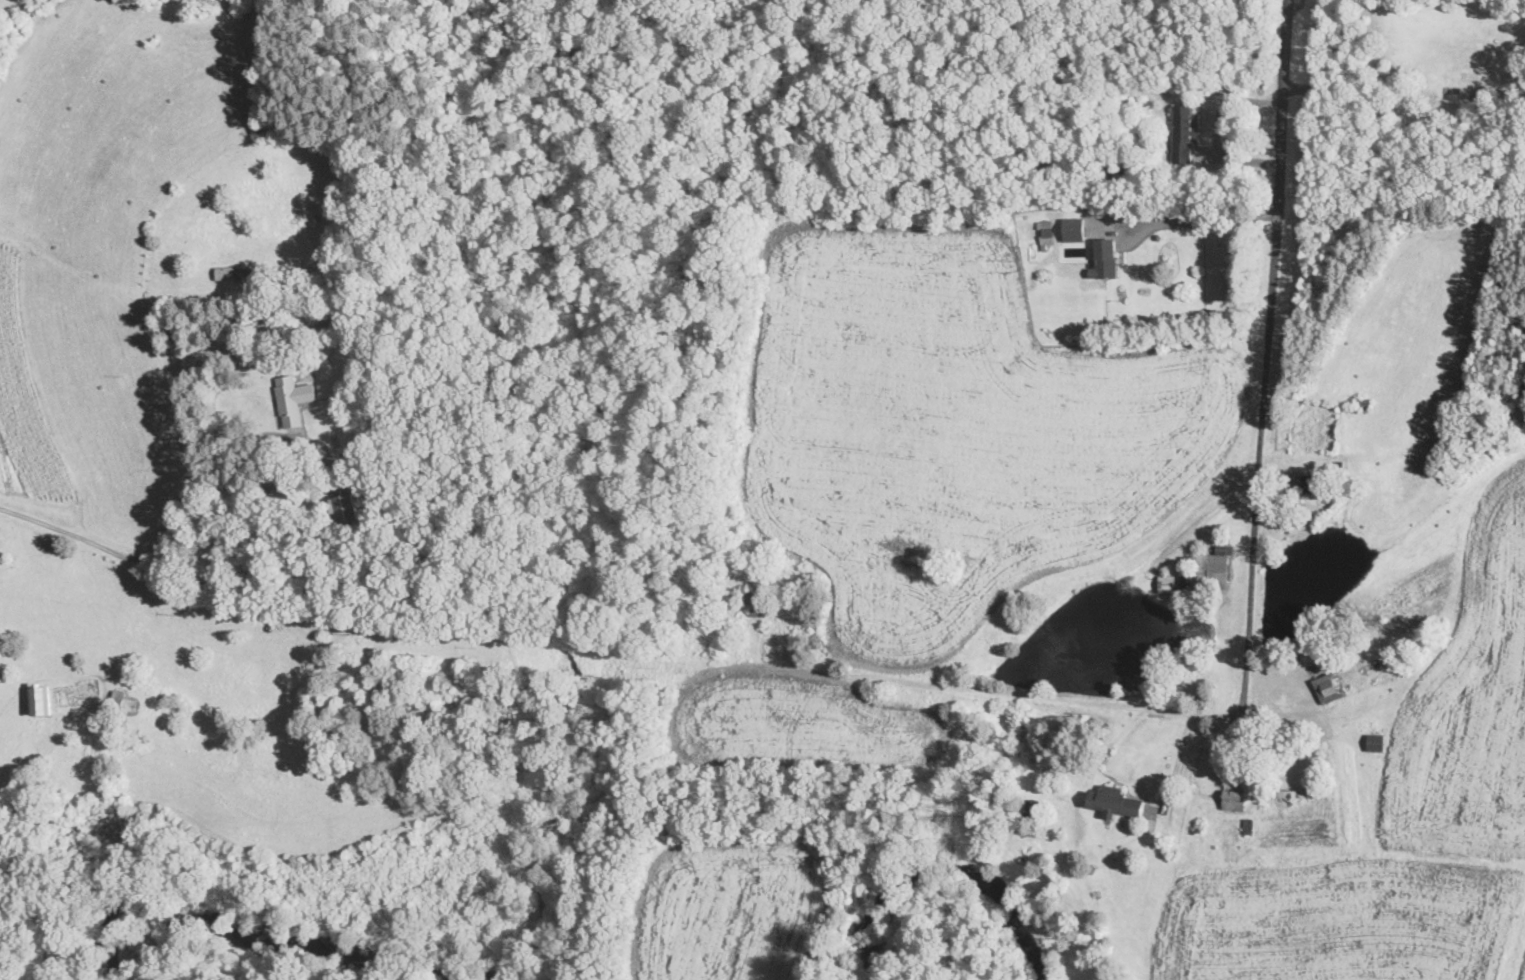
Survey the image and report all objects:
building: (1184, 132)
road: (1199, 220)
building: (1073, 229)
building: (1105, 258)
building: (246, 272)
road: (1265, 384)
building: (292, 399)
building: (1303, 484)
building: (345, 502)
road: (151, 542)
building: (1209, 572)
building: (1167, 584)
building: (756, 600)
building: (1330, 688)
road: (1000, 694)
building: (40, 699)
building: (124, 704)
building: (1376, 743)
road: (1178, 758)
building: (1292, 795)
building: (1234, 800)
building: (1114, 802)
river: (969, 900)
river: (222, 954)
river: (14, 973)

